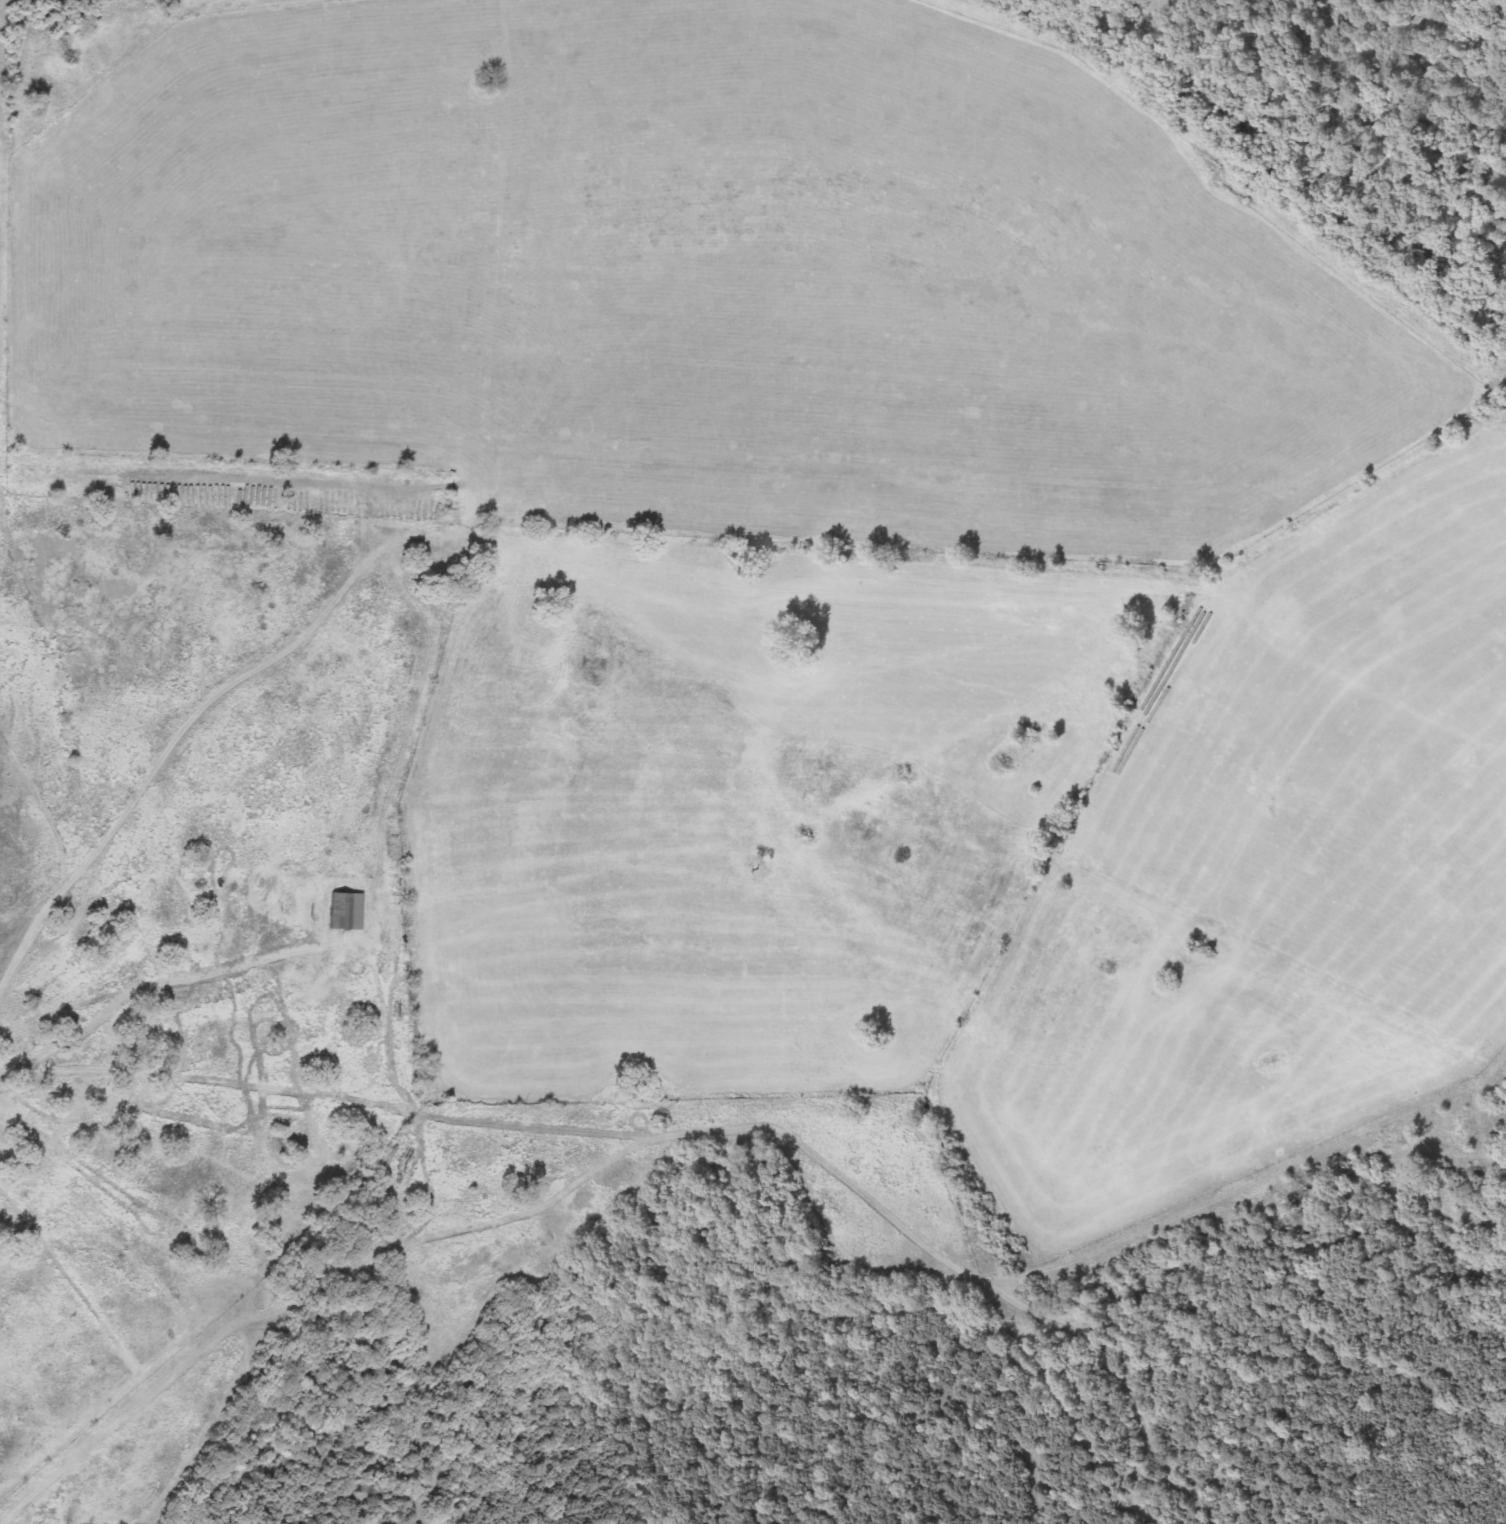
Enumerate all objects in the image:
road: (373, 546)
road: (37, 804)
building: (340, 911)

